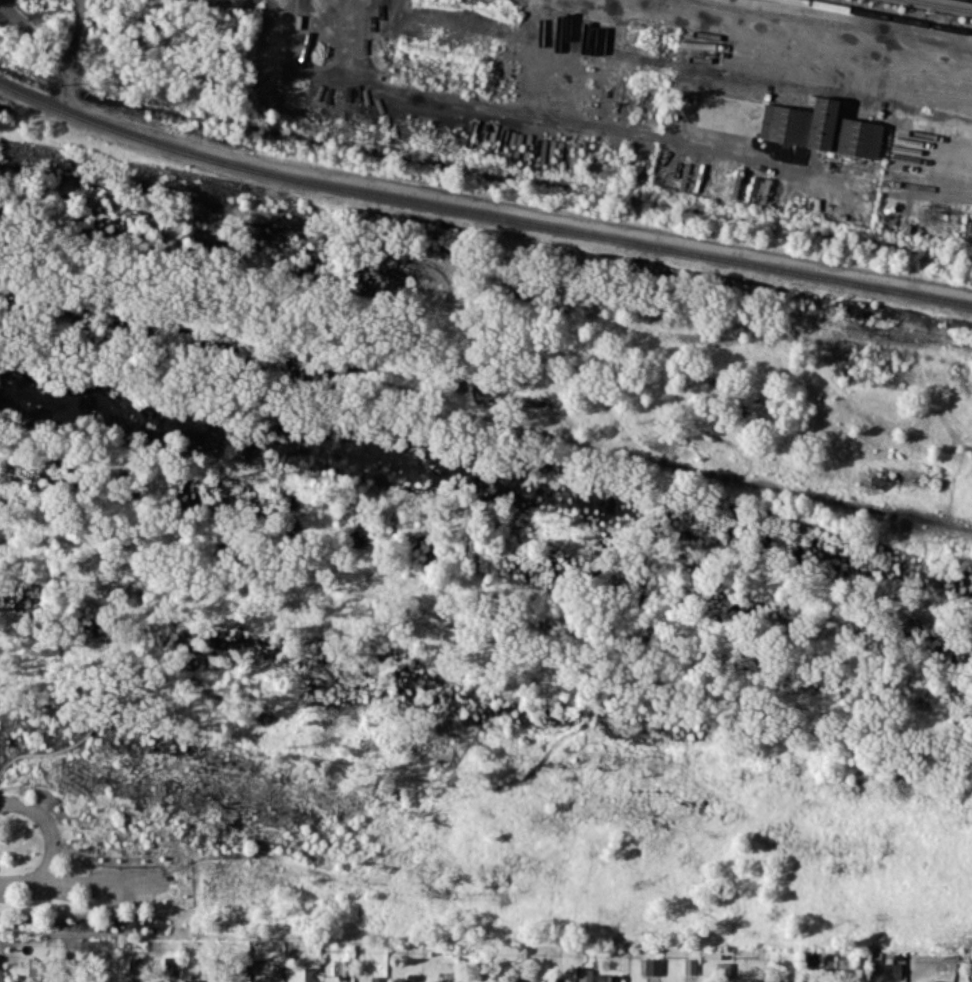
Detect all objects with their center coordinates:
railway: (944, 5)
railway: (885, 16)
building: (819, 128)
railway: (151, 133)
building: (758, 190)
railway: (639, 239)
road: (78, 884)
building: (137, 964)
building: (171, 964)
building: (652, 965)
building: (34, 966)
building: (341, 967)
building: (722, 970)
building: (892, 970)
building: (1, 974)
building: (310, 974)
building: (585, 975)
building: (447, 976)
building: (606, 977)
building: (378, 979)
building: (550, 979)
building: (191, 980)
building: (50, 981)
building: (792, 981)
building: (937, 981)

